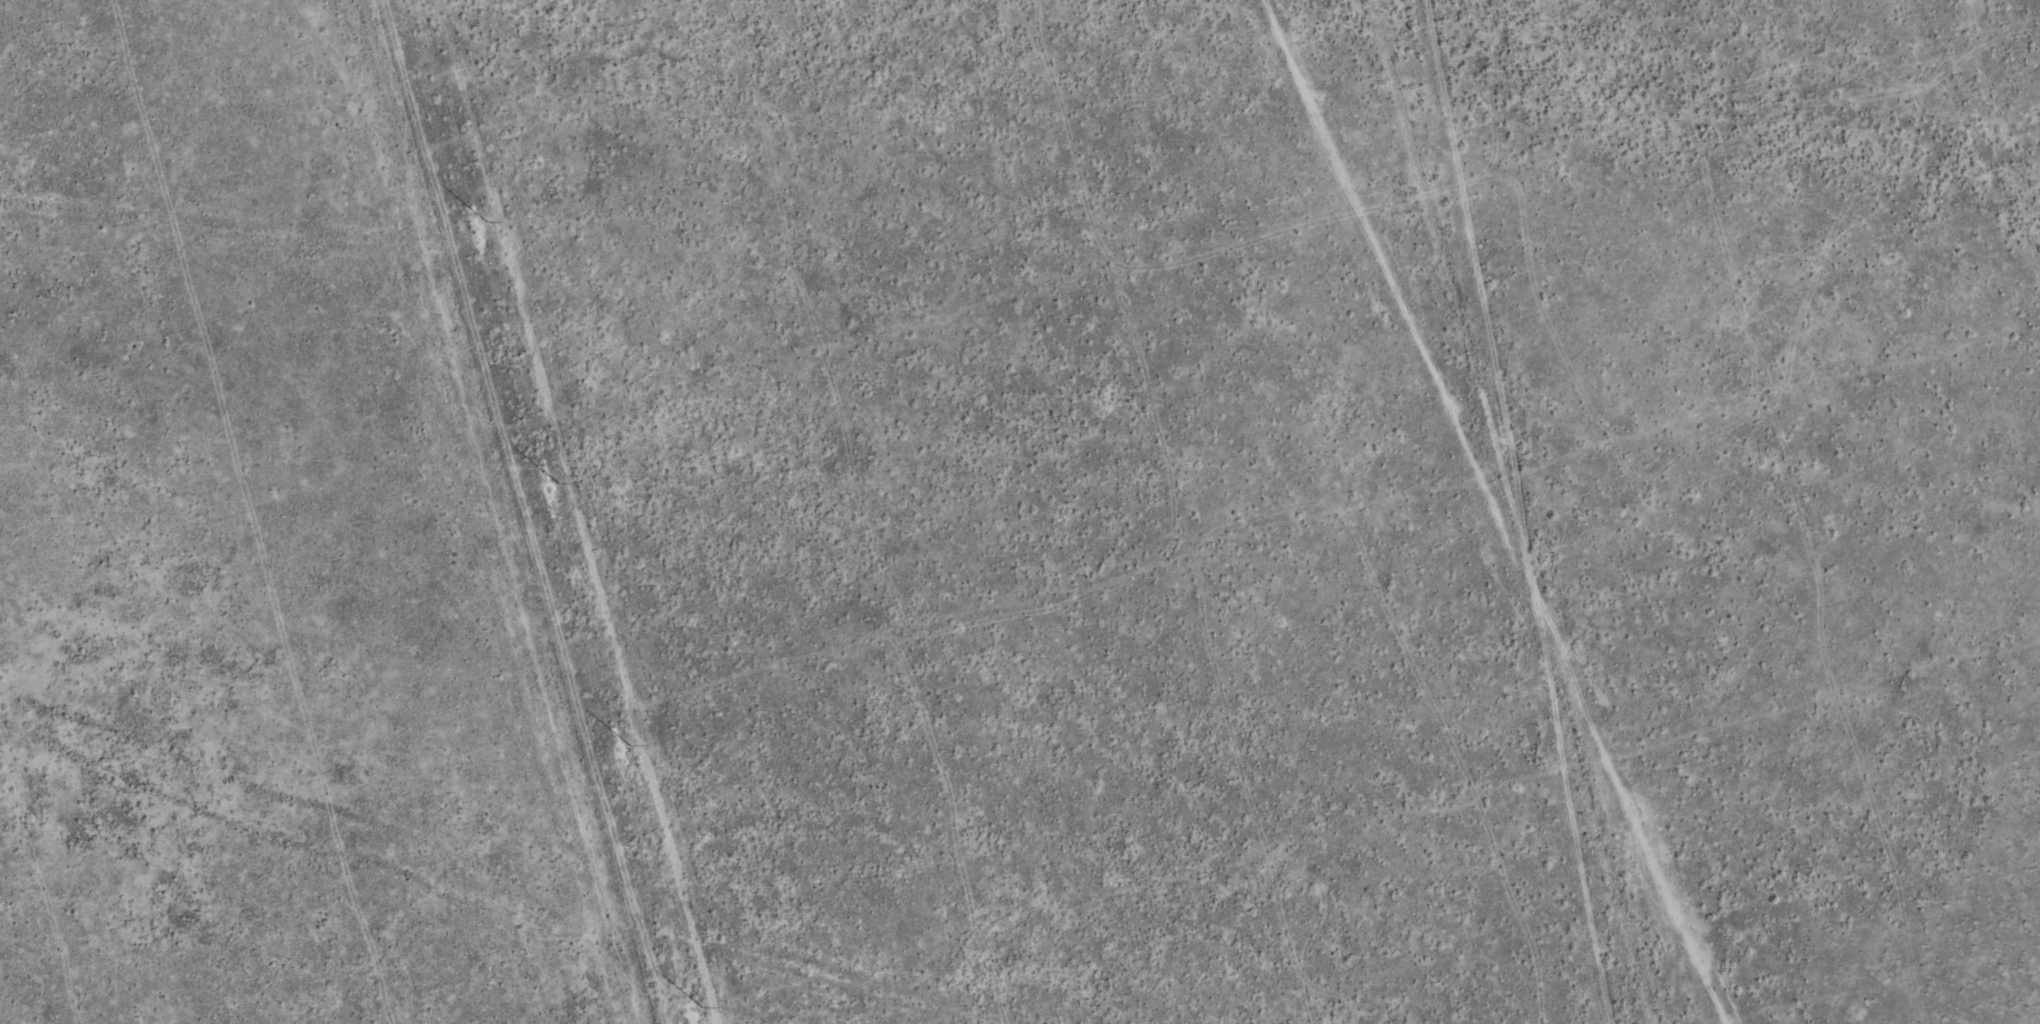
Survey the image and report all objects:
power tower: (484, 222)
power tower: (555, 483)
power tower: (627, 747)
power tower: (699, 1008)

